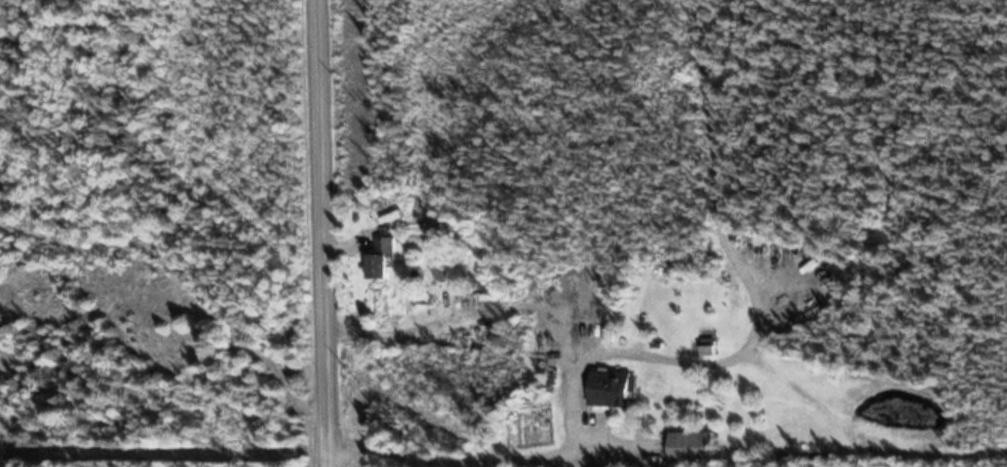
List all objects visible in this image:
road: (326, 233)
building: (382, 259)
building: (612, 390)
building: (693, 448)

